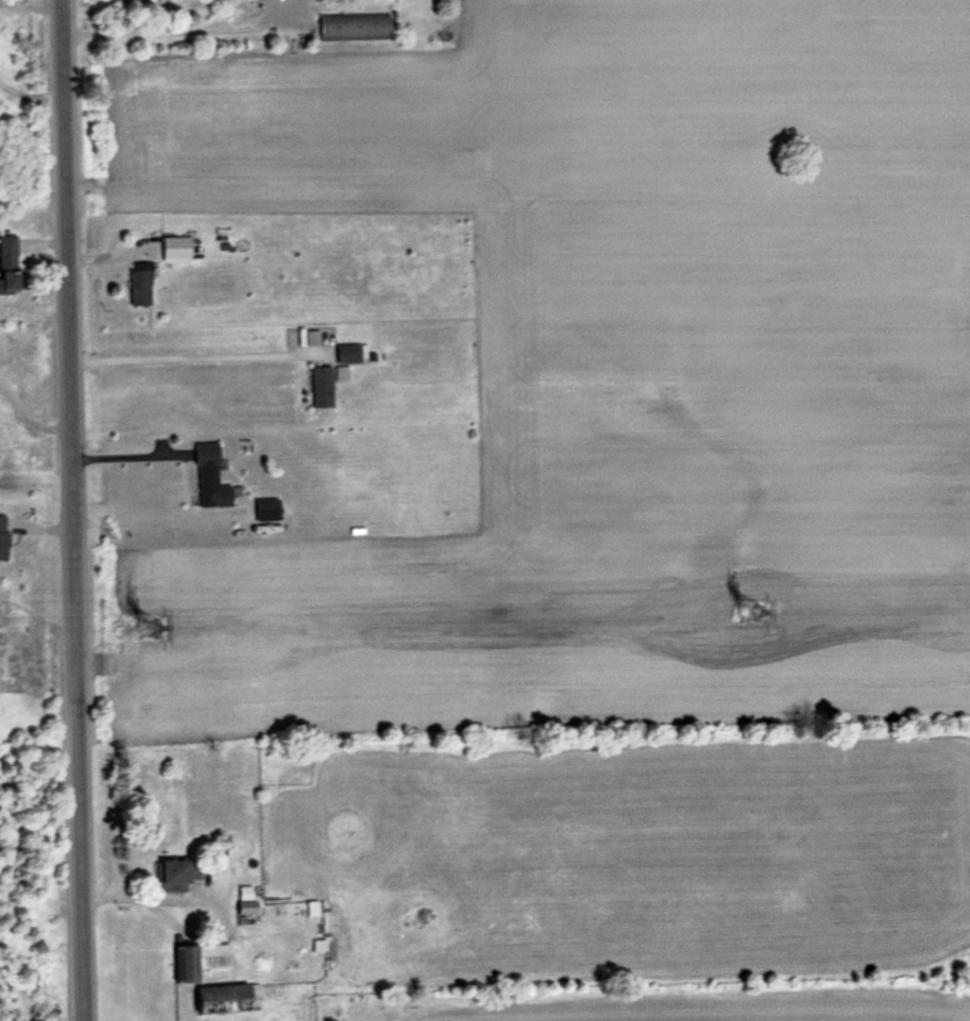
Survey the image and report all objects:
building: (360, 23)
road: (180, 28)
building: (9, 263)
building: (141, 282)
road: (181, 347)
building: (323, 385)
building: (211, 476)
building: (269, 508)
road: (72, 510)
building: (4, 535)
power tower: (751, 611)
power tower: (148, 626)
building: (177, 873)
building: (247, 899)
building: (201, 959)
building: (231, 997)

